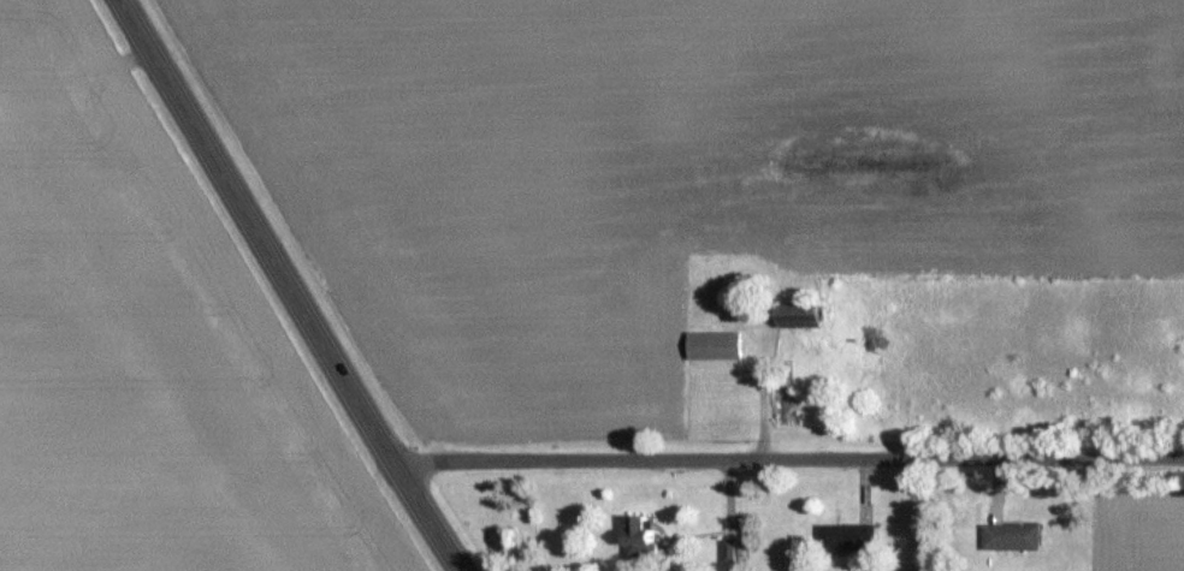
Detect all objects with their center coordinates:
road: (289, 286)
building: (733, 296)
building: (798, 311)
building: (712, 344)
building: (797, 409)
road: (788, 457)
building: (845, 535)
building: (1008, 535)
building: (638, 536)

